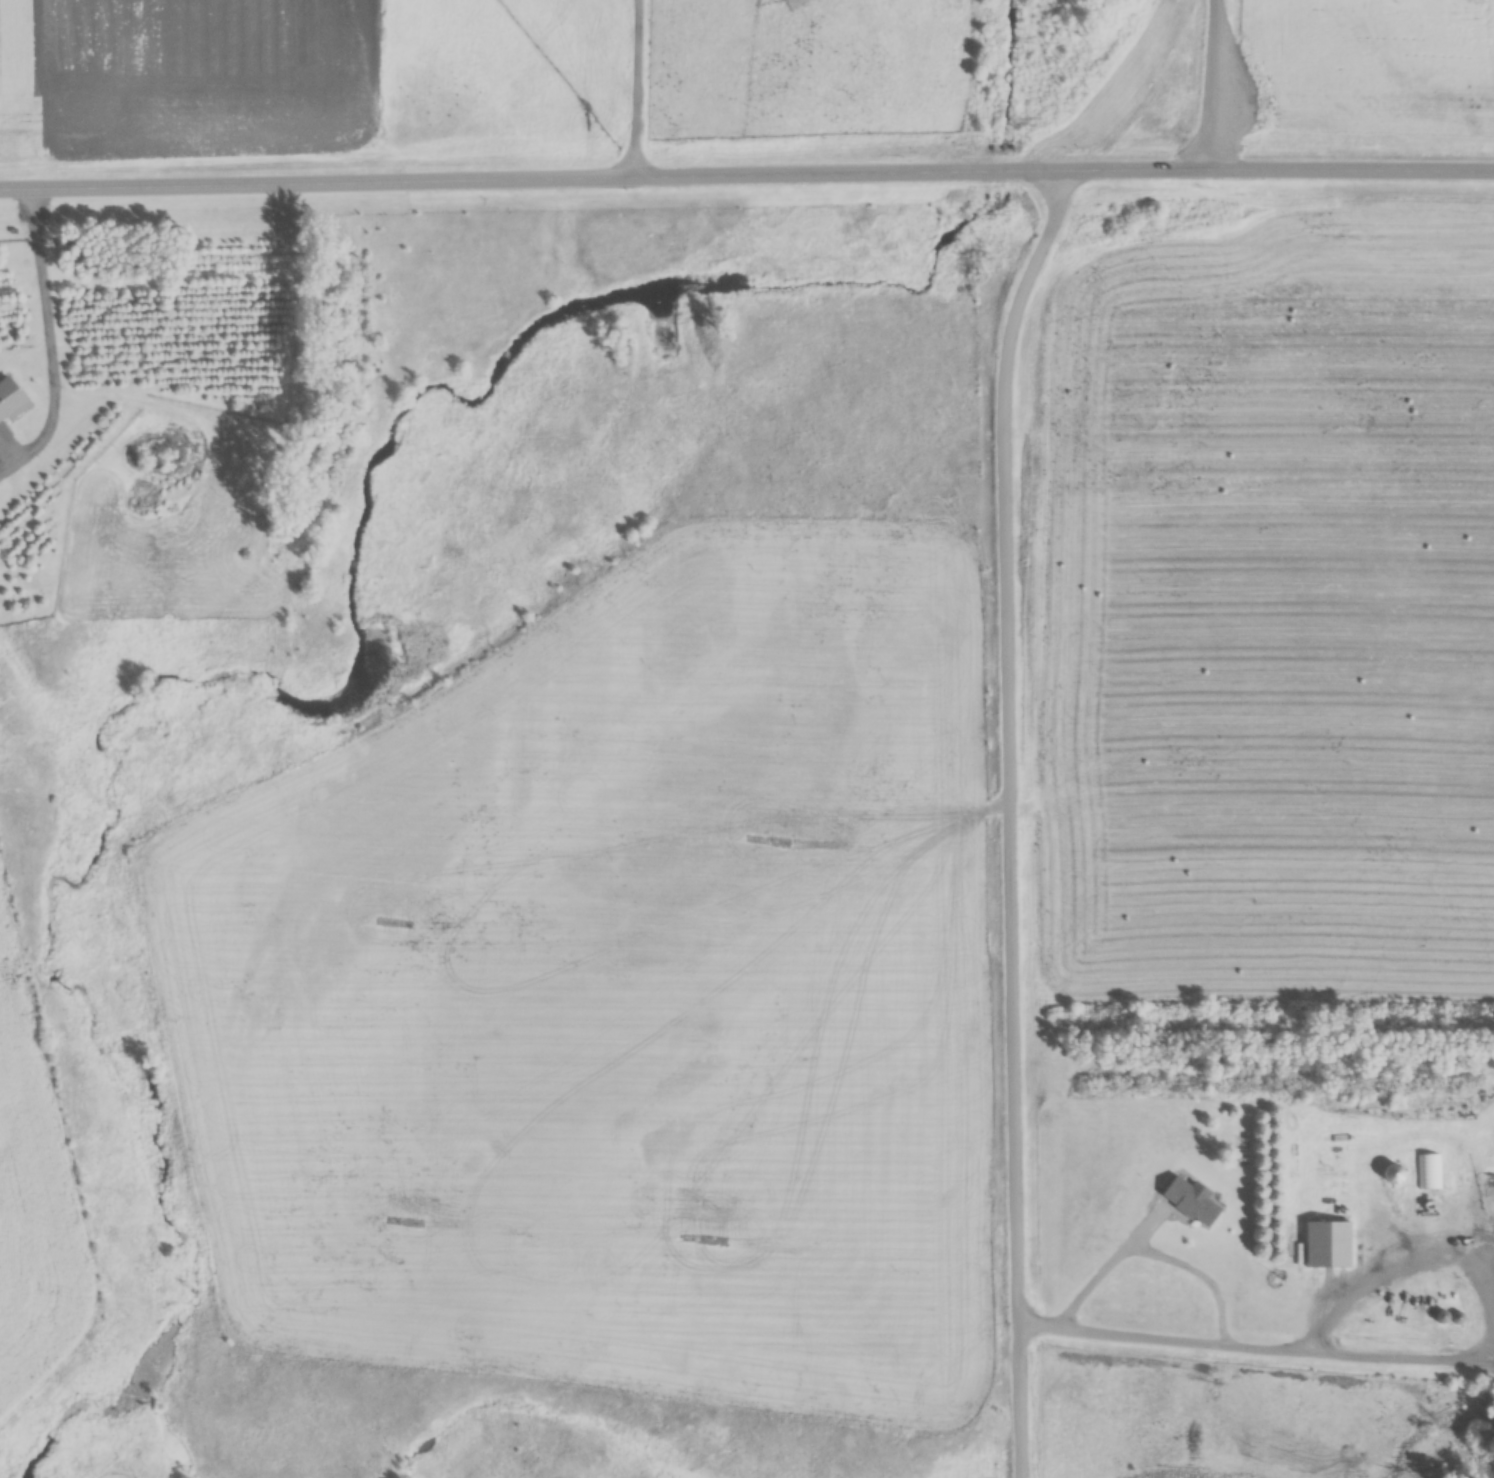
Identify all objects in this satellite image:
road: (1211, 82)
road: (746, 169)
building: (10, 402)
road: (1014, 816)
building: (1340, 1168)
building: (1429, 1173)
building: (1192, 1202)
building: (1328, 1245)

